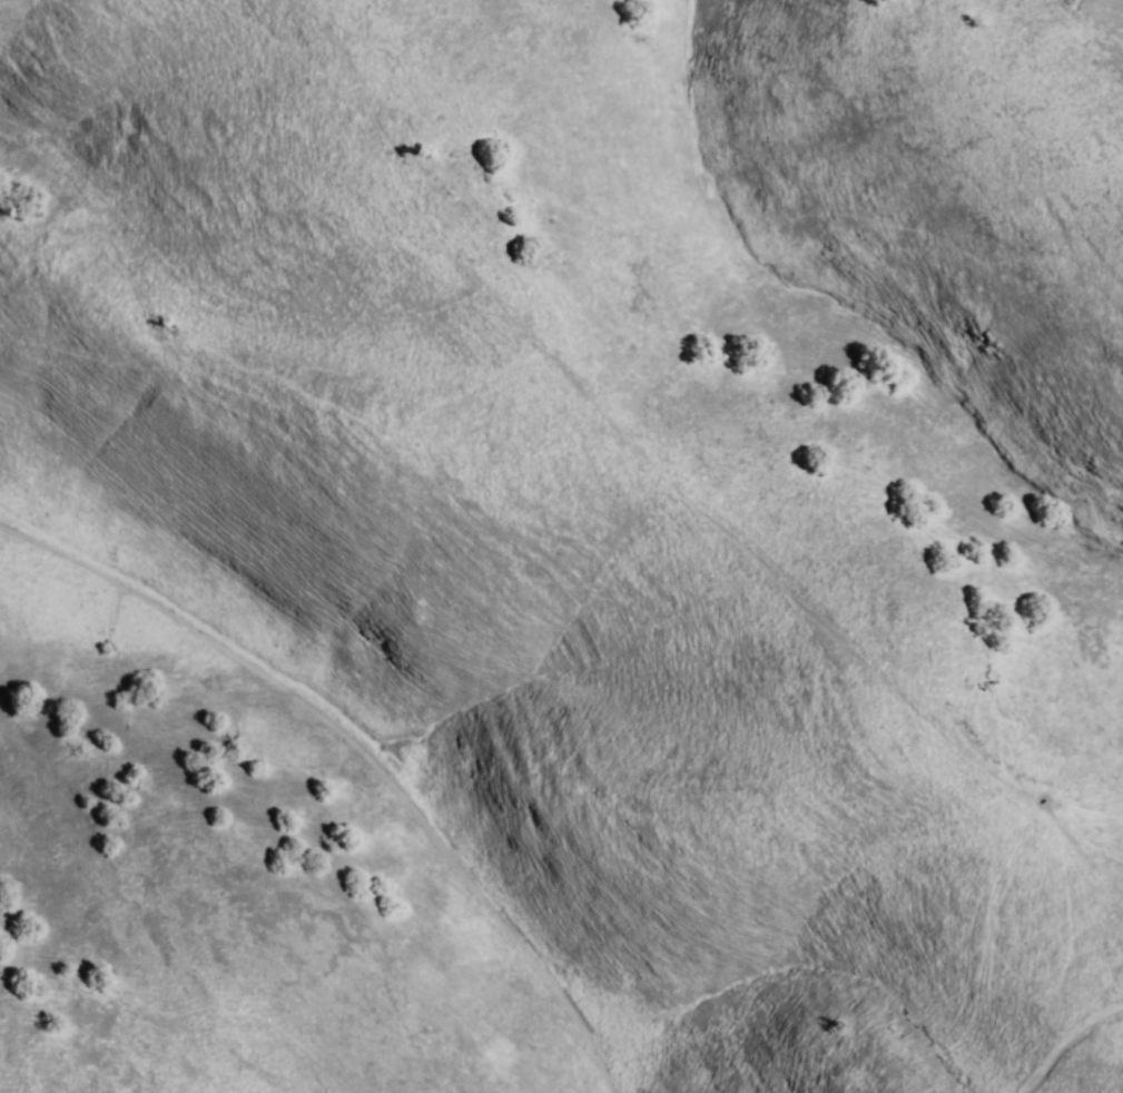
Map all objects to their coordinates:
road: (352, 758)
road: (1061, 1038)

